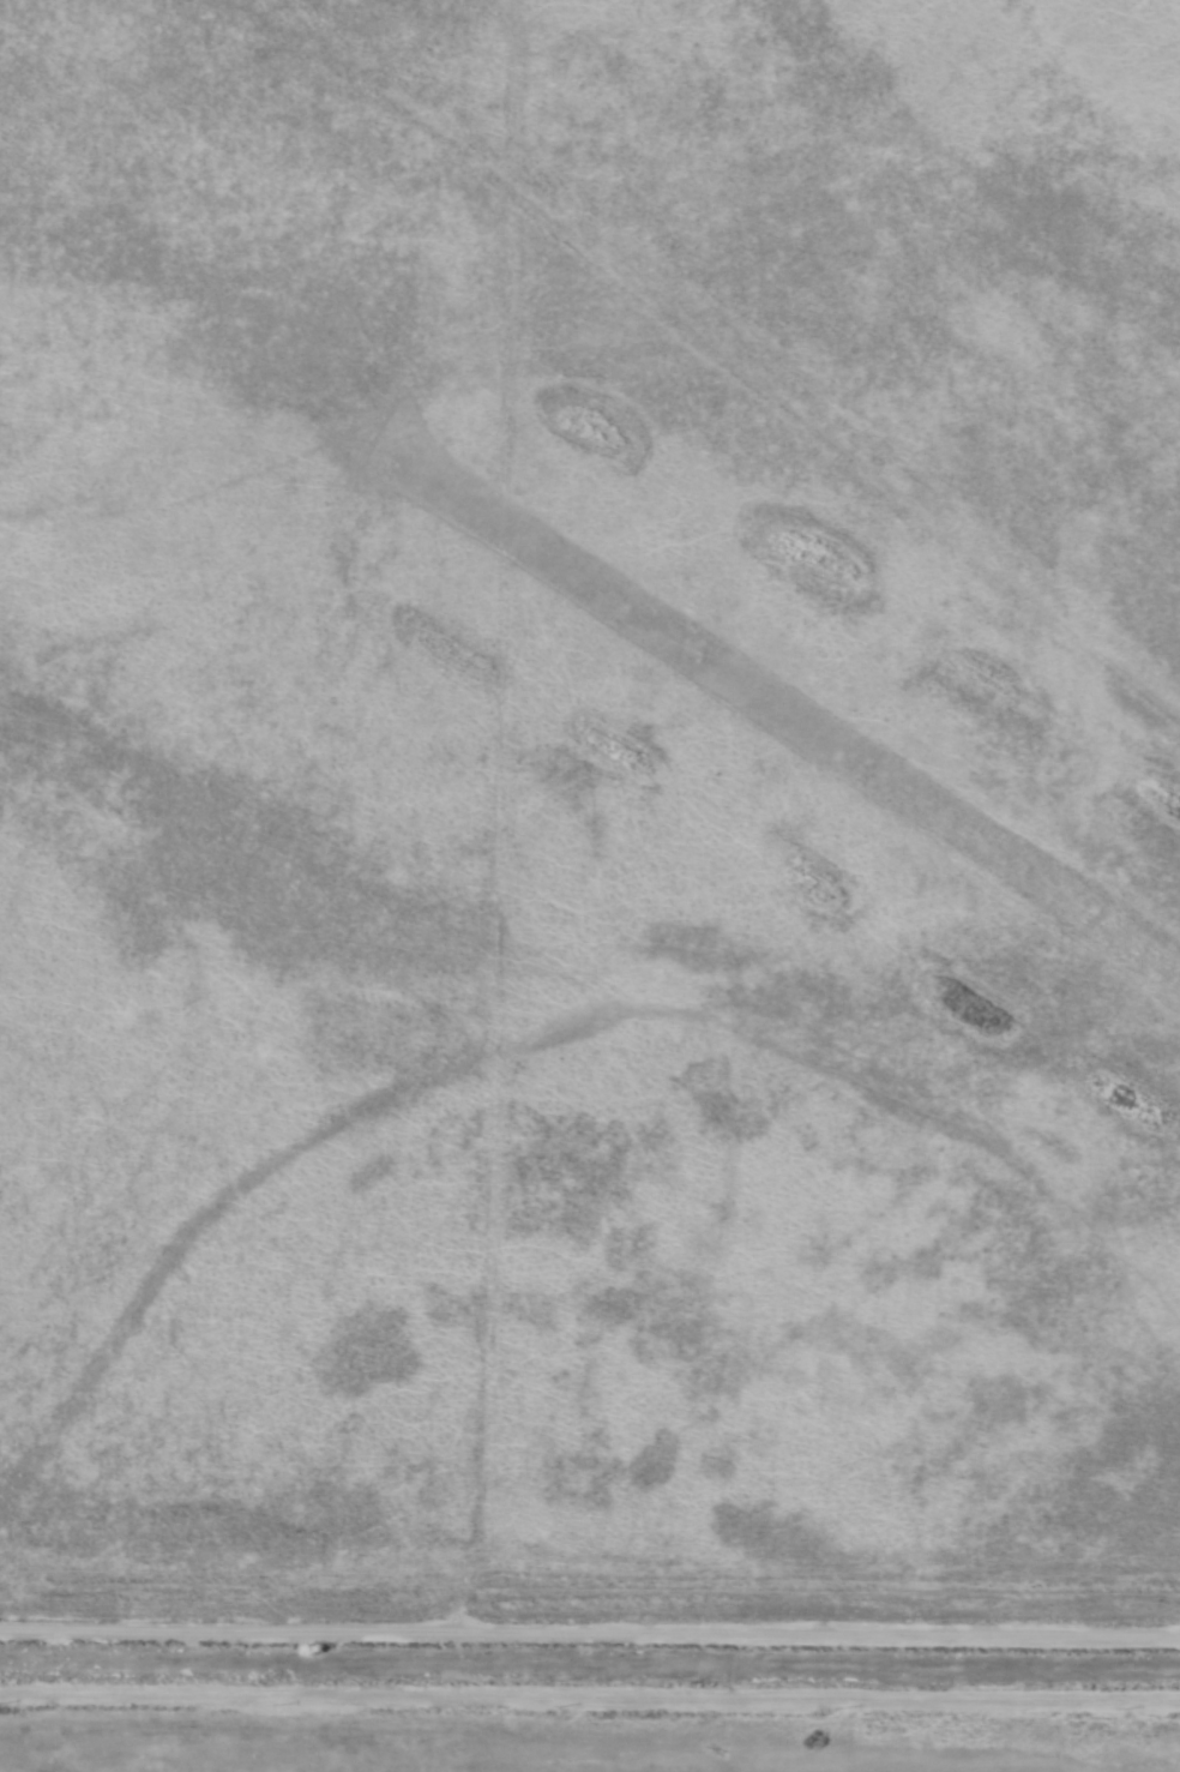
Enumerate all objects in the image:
crop: (590, 885)
road: (590, 1627)
road: (590, 1690)

